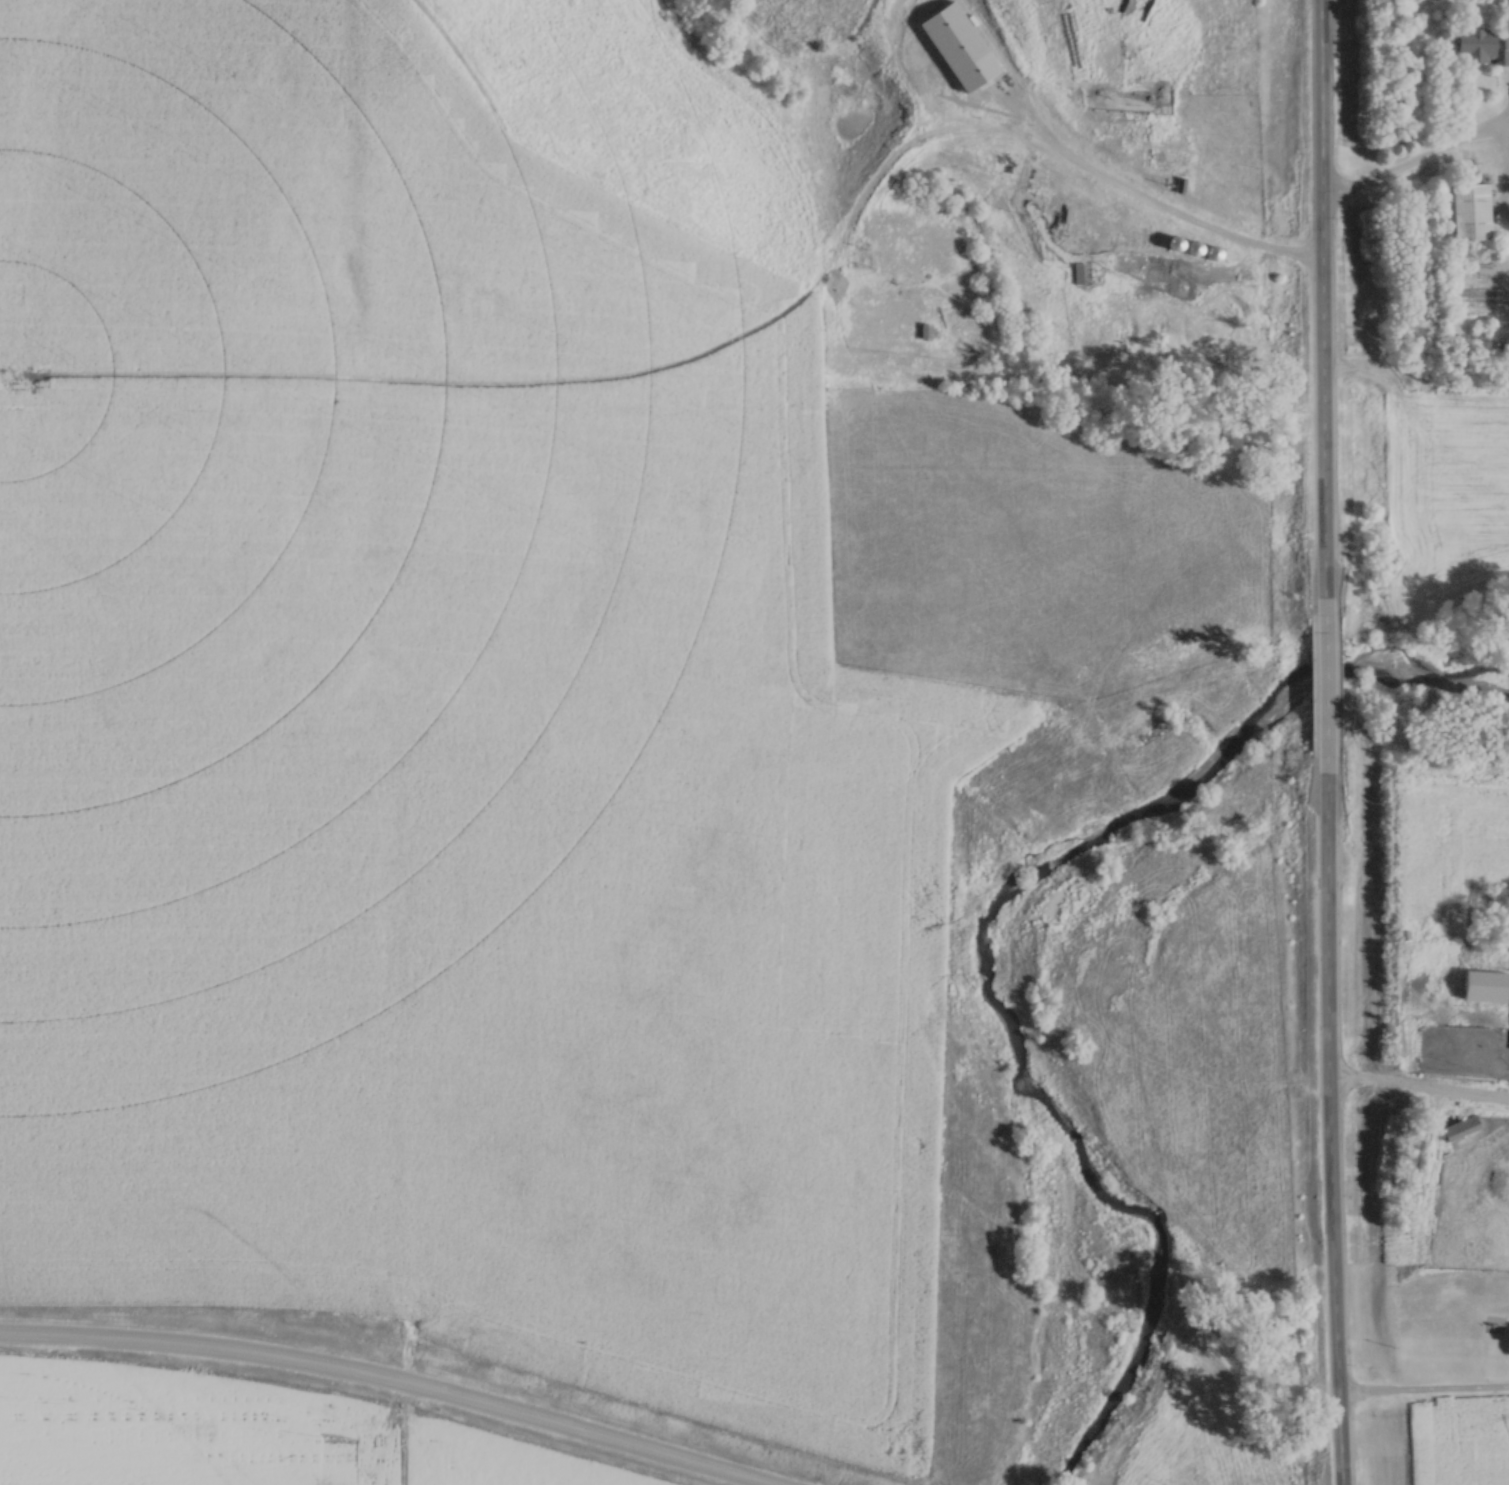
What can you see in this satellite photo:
building: (1475, 44)
building: (1505, 49)
road: (1410, 170)
building: (1469, 212)
building: (1076, 273)
road: (1323, 298)
road: (1325, 673)
road: (1419, 1090)
road: (1330, 1117)
building: (1459, 1128)
road: (380, 1383)

